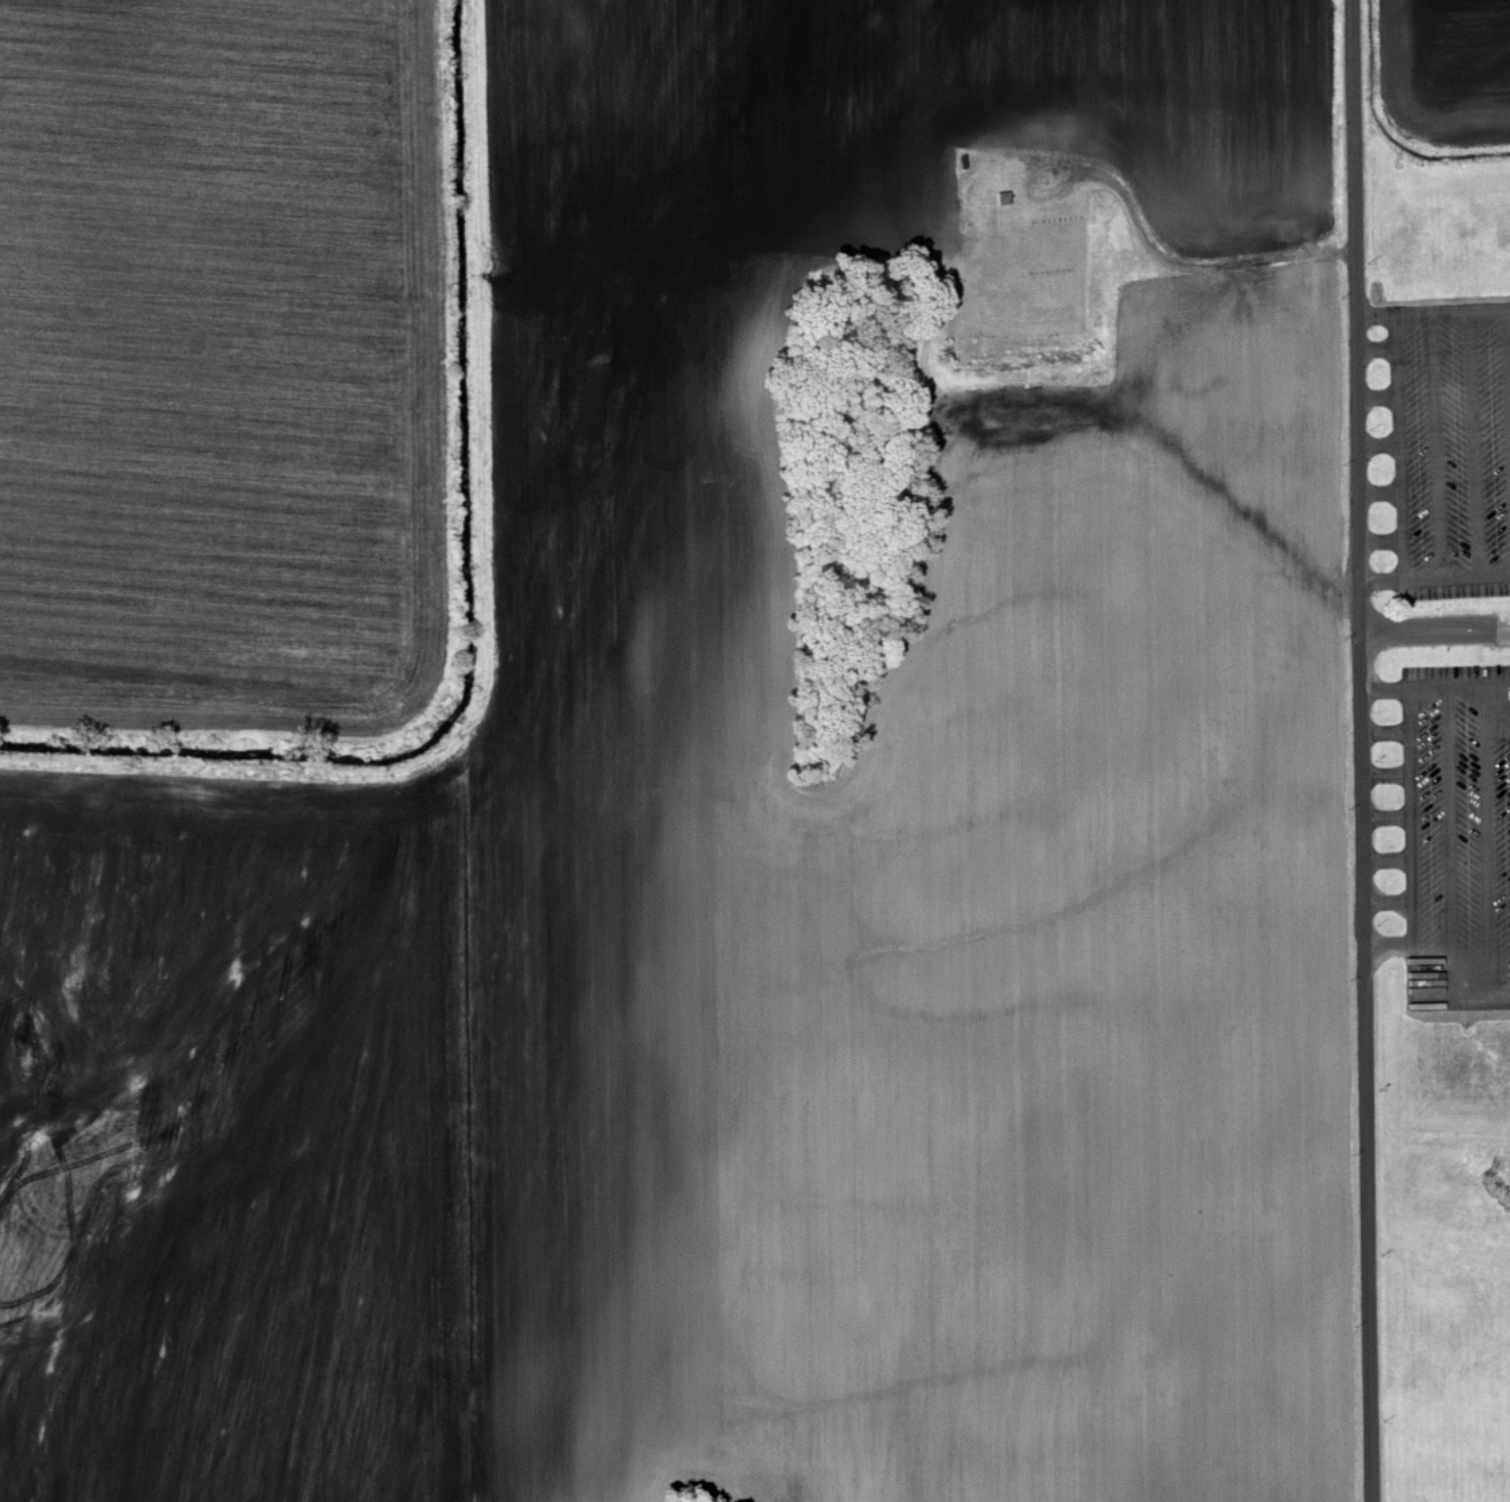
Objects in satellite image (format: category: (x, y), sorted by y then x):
road: (1433, 315)
road: (1375, 351)
road: (1508, 356)
road: (1376, 398)
road: (1474, 444)
road: (1435, 445)
road: (1396, 446)
road: (1377, 449)
road: (1378, 495)
road: (1379, 541)
road: (1434, 576)
road: (1425, 633)
road: (1383, 690)
road: (1468, 690)
road: (1384, 733)
road: (1361, 751)
road: (1385, 772)
road: (1386, 820)
road: (1488, 844)
road: (1450, 845)
road: (1387, 858)
road: (1412, 892)
road: (1388, 904)
road: (1389, 947)

